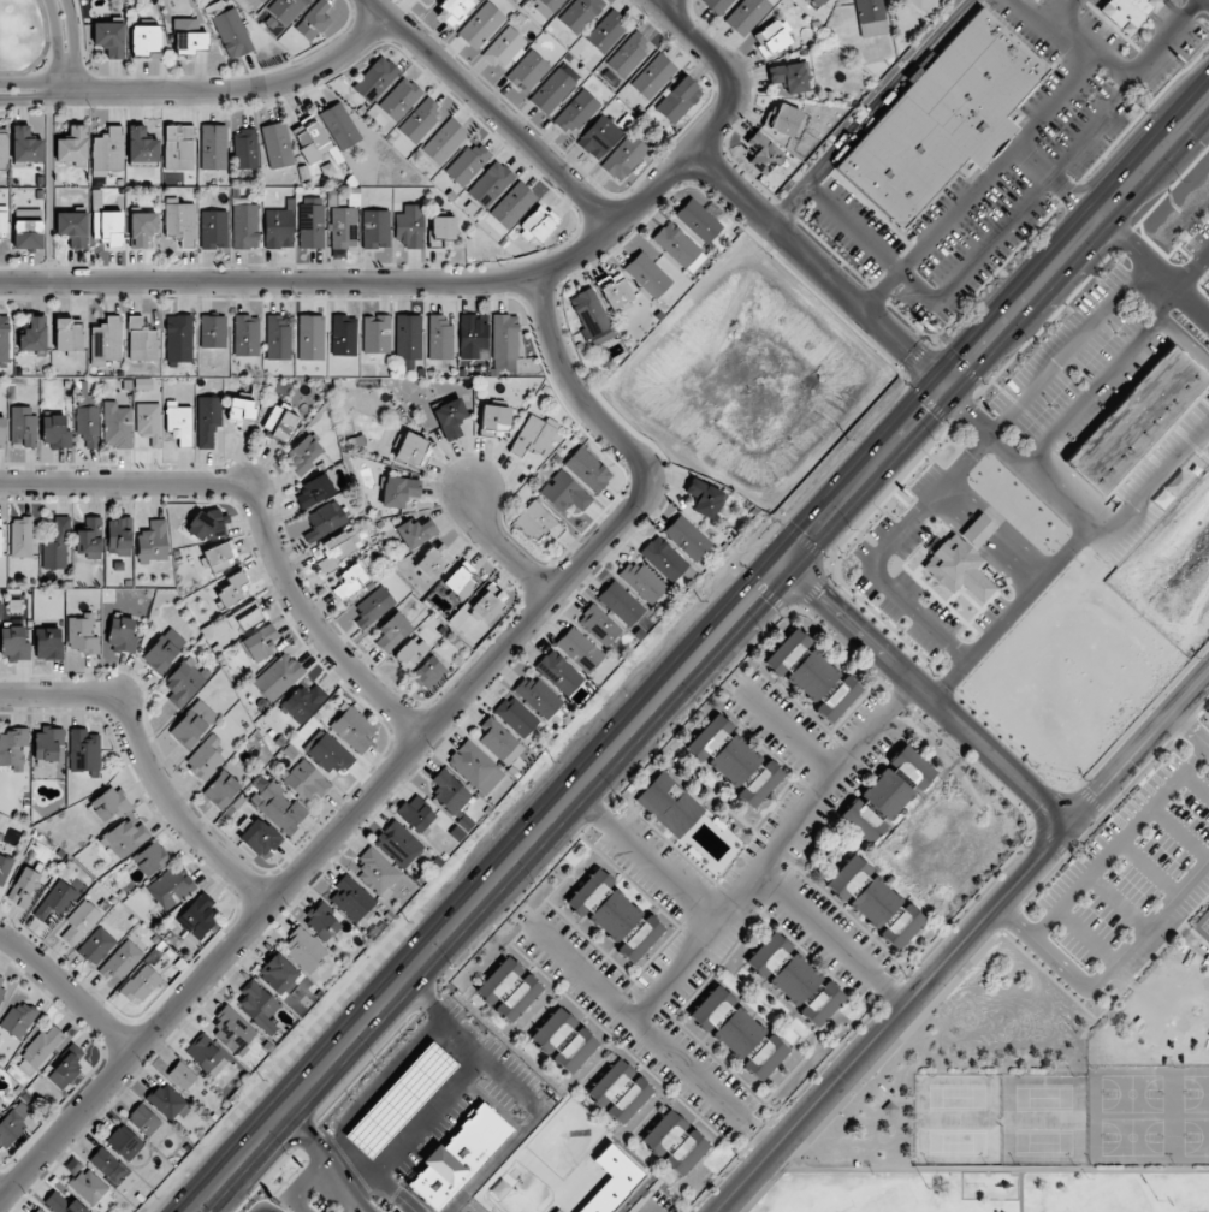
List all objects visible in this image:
building: (1031, 0)
building: (1035, 0)
building: (425, 1)
road: (663, 1)
building: (254, 2)
building: (818, 2)
building: (551, 4)
building: (717, 5)
building: (926, 5)
building: (286, 8)
building: (452, 11)
building: (1125, 12)
building: (580, 13)
road: (1053, 13)
building: (747, 14)
building: (871, 17)
building: (314, 20)
building: (480, 25)
road: (58, 30)
road: (69, 30)
building: (608, 31)
building: (231, 34)
road: (1048, 34)
park: (24, 37)
building: (109, 38)
building: (771, 38)
building: (146, 40)
building: (190, 41)
building: (503, 47)
road: (43, 50)
building: (628, 54)
road: (47, 63)
road: (1113, 66)
road: (728, 70)
building: (527, 71)
road: (66, 76)
building: (653, 76)
building: (790, 76)
building: (375, 79)
road: (24, 84)
building: (552, 90)
road: (230, 91)
road: (23, 96)
building: (399, 99)
building: (678, 100)
road: (494, 111)
building: (576, 111)
road: (870, 111)
power tower: (1145, 113)
building: (941, 119)
building: (421, 120)
building: (787, 120)
building: (339, 126)
building: (599, 137)
building: (310, 138)
building: (444, 141)
building: (25, 144)
building: (277, 144)
building: (142, 145)
building: (73, 147)
building: (213, 147)
building: (2, 148)
building: (178, 148)
building: (245, 149)
building: (107, 151)
building: (763, 153)
road: (1072, 153)
building: (624, 156)
building: (468, 164)
road: (1187, 165)
road: (47, 166)
road: (980, 182)
building: (490, 184)
road: (1054, 184)
building: (512, 204)
building: (698, 220)
building: (180, 221)
building: (2, 222)
building: (312, 222)
building: (538, 224)
building: (108, 226)
building: (410, 226)
building: (72, 227)
building: (279, 227)
building: (343, 227)
building: (142, 228)
building: (375, 228)
building: (213, 230)
building: (443, 231)
building: (28, 234)
road: (870, 239)
building: (678, 246)
road: (817, 267)
building: (647, 274)
power tower: (992, 283)
road: (369, 286)
building: (616, 291)
road: (1098, 313)
building: (592, 316)
road: (1167, 322)
building: (213, 331)
road: (995, 332)
building: (34, 334)
building: (344, 334)
building: (377, 334)
building: (67, 335)
building: (245, 335)
building: (278, 337)
building: (310, 337)
building: (4, 338)
building: (178, 338)
building: (439, 338)
building: (473, 338)
building: (408, 339)
building: (141, 340)
building: (106, 341)
building: (504, 341)
traffic signals: (947, 386)
road: (575, 391)
road: (1092, 391)
building: (450, 418)
building: (207, 420)
building: (494, 420)
building: (1137, 420)
building: (149, 422)
building: (178, 422)
building: (280, 423)
building: (88, 424)
building: (117, 424)
building: (23, 426)
building: (54, 432)
building: (533, 435)
power tower: (846, 440)
building: (411, 450)
building: (302, 454)
building: (588, 469)
building: (314, 491)
building: (398, 491)
building: (565, 493)
building: (705, 498)
road: (262, 511)
road: (1080, 516)
building: (322, 519)
building: (538, 522)
building: (208, 524)
building: (978, 530)
building: (416, 533)
building: (119, 536)
building: (0, 537)
building: (20, 537)
building: (89, 537)
building: (687, 537)
building: (153, 542)
building: (57, 546)
building: (338, 548)
road: (503, 552)
building: (217, 557)
building: (664, 558)
building: (433, 562)
traffic signals: (784, 569)
building: (958, 569)
building: (349, 581)
building: (462, 581)
building: (642, 581)
building: (233, 589)
power tower: (699, 600)
building: (621, 602)
building: (486, 605)
building: (373, 606)
road: (540, 611)
building: (245, 617)
building: (599, 625)
building: (392, 631)
building: (82, 634)
building: (122, 634)
building: (13, 643)
building: (48, 643)
building: (260, 643)
building: (579, 649)
building: (164, 650)
building: (410, 652)
building: (787, 652)
building: (426, 671)
building: (559, 672)
building: (812, 675)
building: (278, 677)
building: (184, 682)
building: (538, 696)
road: (925, 697)
building: (838, 699)
building: (303, 702)
building: (515, 717)
building: (192, 724)
building: (352, 727)
road: (1190, 730)
building: (710, 738)
building: (499, 741)
road: (792, 741)
building: (48, 743)
building: (12, 748)
road: (1138, 749)
building: (84, 751)
building: (330, 754)
building: (205, 756)
building: (734, 760)
power tower: (552, 761)
road: (143, 764)
building: (475, 767)
building: (304, 779)
building: (760, 784)
road: (1195, 786)
building: (221, 789)
building: (449, 792)
building: (887, 794)
building: (108, 804)
building: (669, 804)
building: (278, 807)
building: (416, 813)
road: (343, 821)
road: (1179, 833)
building: (125, 838)
building: (260, 838)
road: (1119, 840)
building: (398, 844)
road: (651, 855)
road: (776, 855)
building: (150, 858)
building: (4, 868)
road: (1146, 868)
building: (375, 873)
building: (171, 886)
building: (24, 887)
road: (488, 890)
building: (863, 891)
building: (589, 892)
building: (351, 898)
building: (55, 902)
road: (1114, 902)
building: (616, 916)
building: (196, 919)
building: (322, 921)
power tower: (405, 921)
building: (79, 922)
road: (1148, 922)
park: (1202, 926)
building: (900, 927)
road: (1084, 935)
building: (640, 939)
road: (831, 943)
building: (96, 945)
road: (1042, 945)
building: (303, 949)
building: (120, 961)
building: (783, 968)
building: (278, 974)
building: (141, 984)
building: (1, 988)
building: (509, 990)
road: (69, 992)
road: (423, 998)
building: (822, 1004)
building: (256, 1005)
building: (18, 1018)
road: (894, 1018)
building: (727, 1022)
building: (232, 1029)
building: (553, 1029)
road: (650, 1035)
building: (40, 1050)
road: (416, 1050)
building: (575, 1051)
building: (205, 1054)
road: (134, 1056)
building: (765, 1058)
road: (401, 1065)
road: (433, 1065)
building: (65, 1067)
building: (182, 1075)
power tower: (261, 1079)
road: (417, 1081)
road: (450, 1081)
road: (385, 1082)
building: (620, 1091)
road: (434, 1097)
park: (1024, 1098)
building: (0, 1099)
road: (371, 1099)
road: (402, 1099)
building: (167, 1101)
road: (538, 1110)
road: (427, 1112)
road: (387, 1115)
road: (419, 1115)
park: (1148, 1116)
road: (352, 1117)
building: (144, 1119)
park: (1000, 1119)
building: (12, 1123)
road: (404, 1130)
road: (310, 1131)
road: (338, 1131)
road: (371, 1133)
building: (124, 1142)
building: (675, 1142)
road: (387, 1148)
building: (107, 1165)
road: (984, 1170)
road: (307, 1184)
building: (89, 1187)
road: (355, 1193)
road: (0, 1201)
building: (63, 1204)
building: (38, 1210)
road: (265, 1210)
building: (557, 1211)

